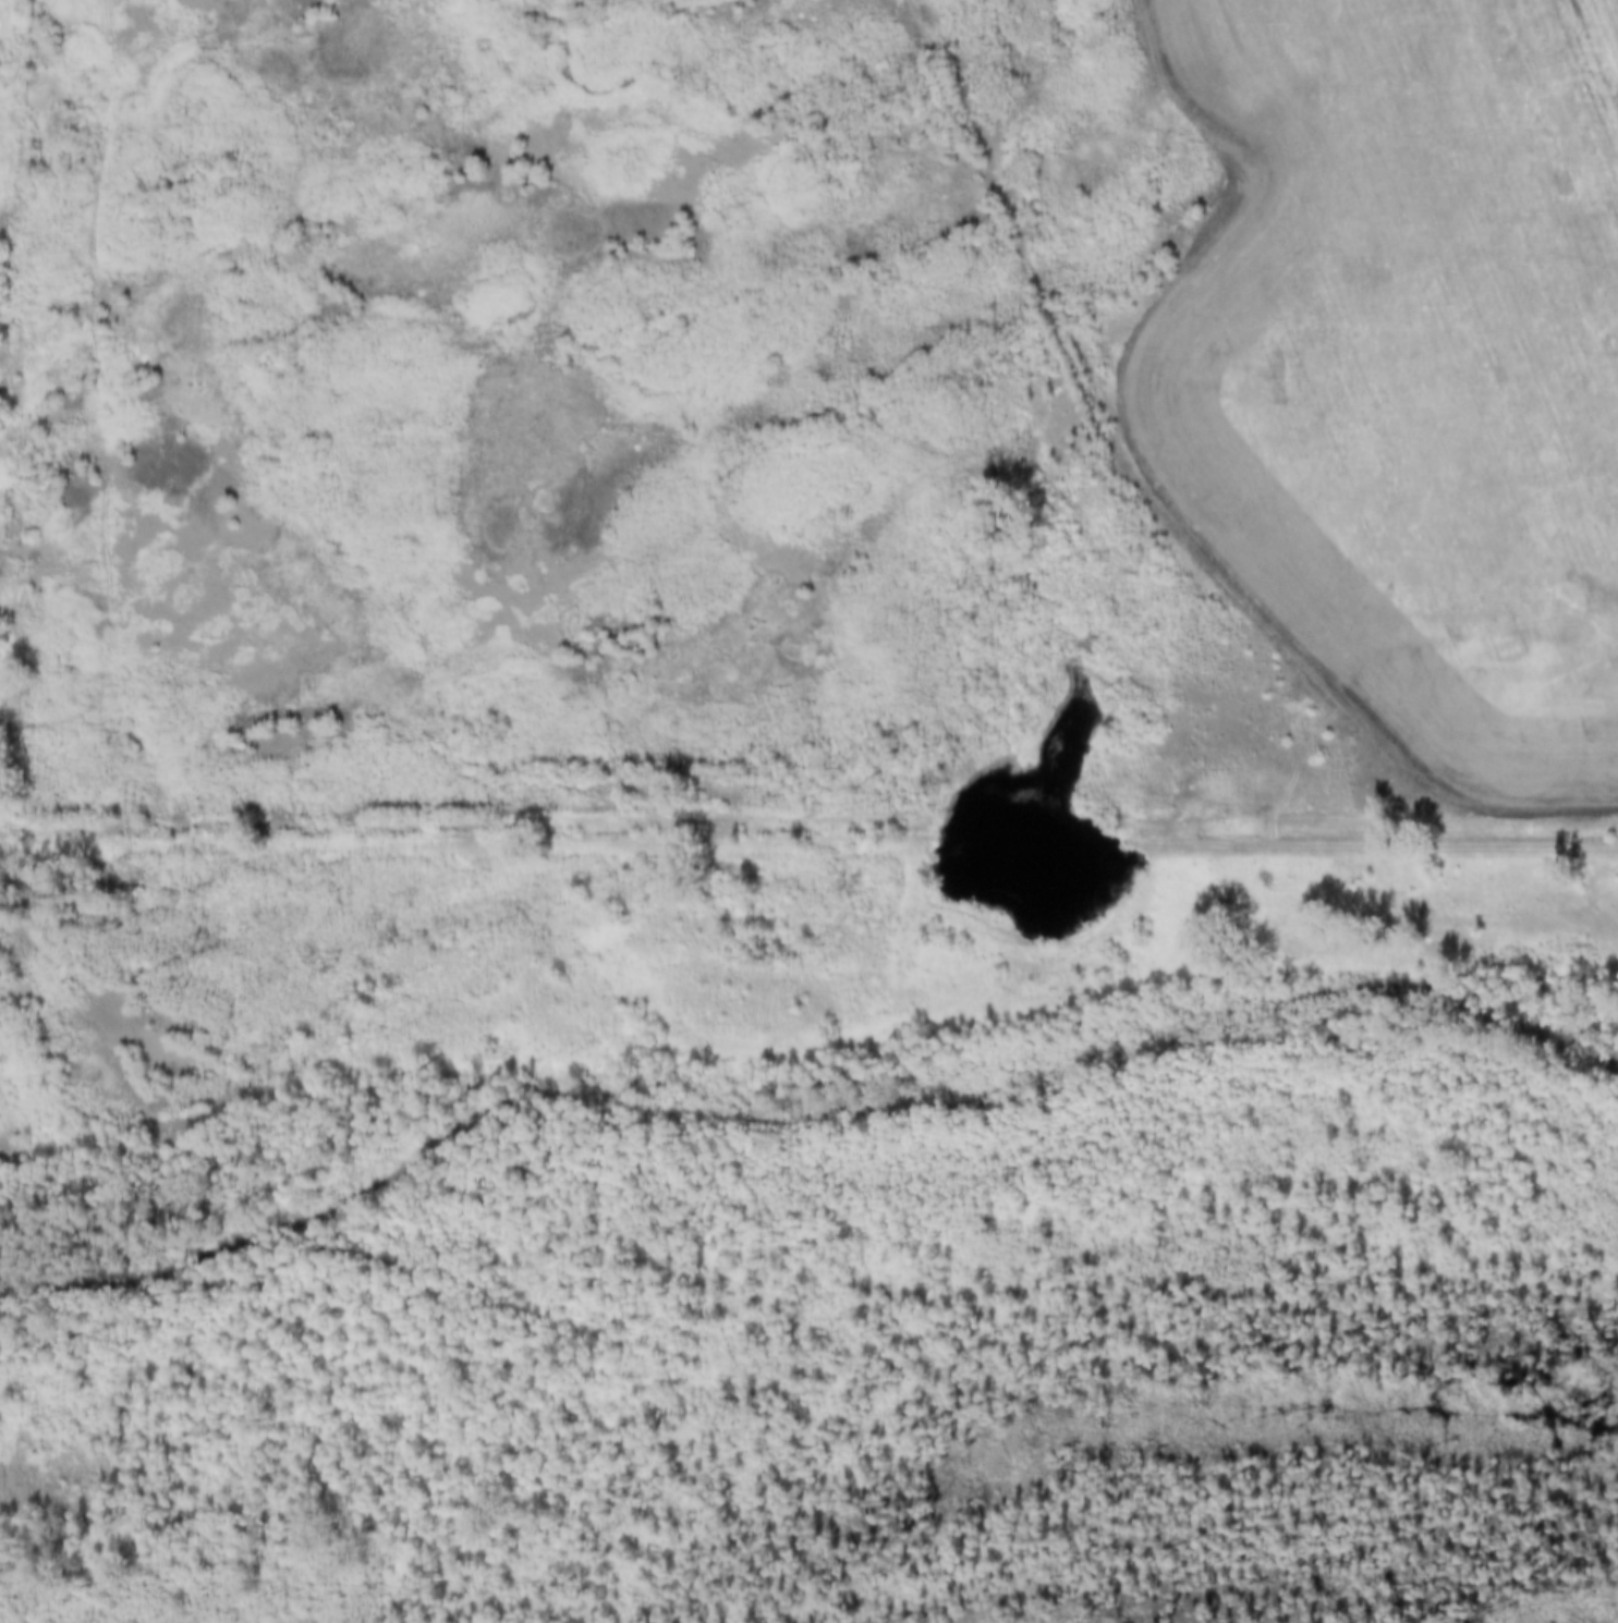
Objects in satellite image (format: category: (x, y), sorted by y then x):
road: (1154, 504)
road: (565, 828)

